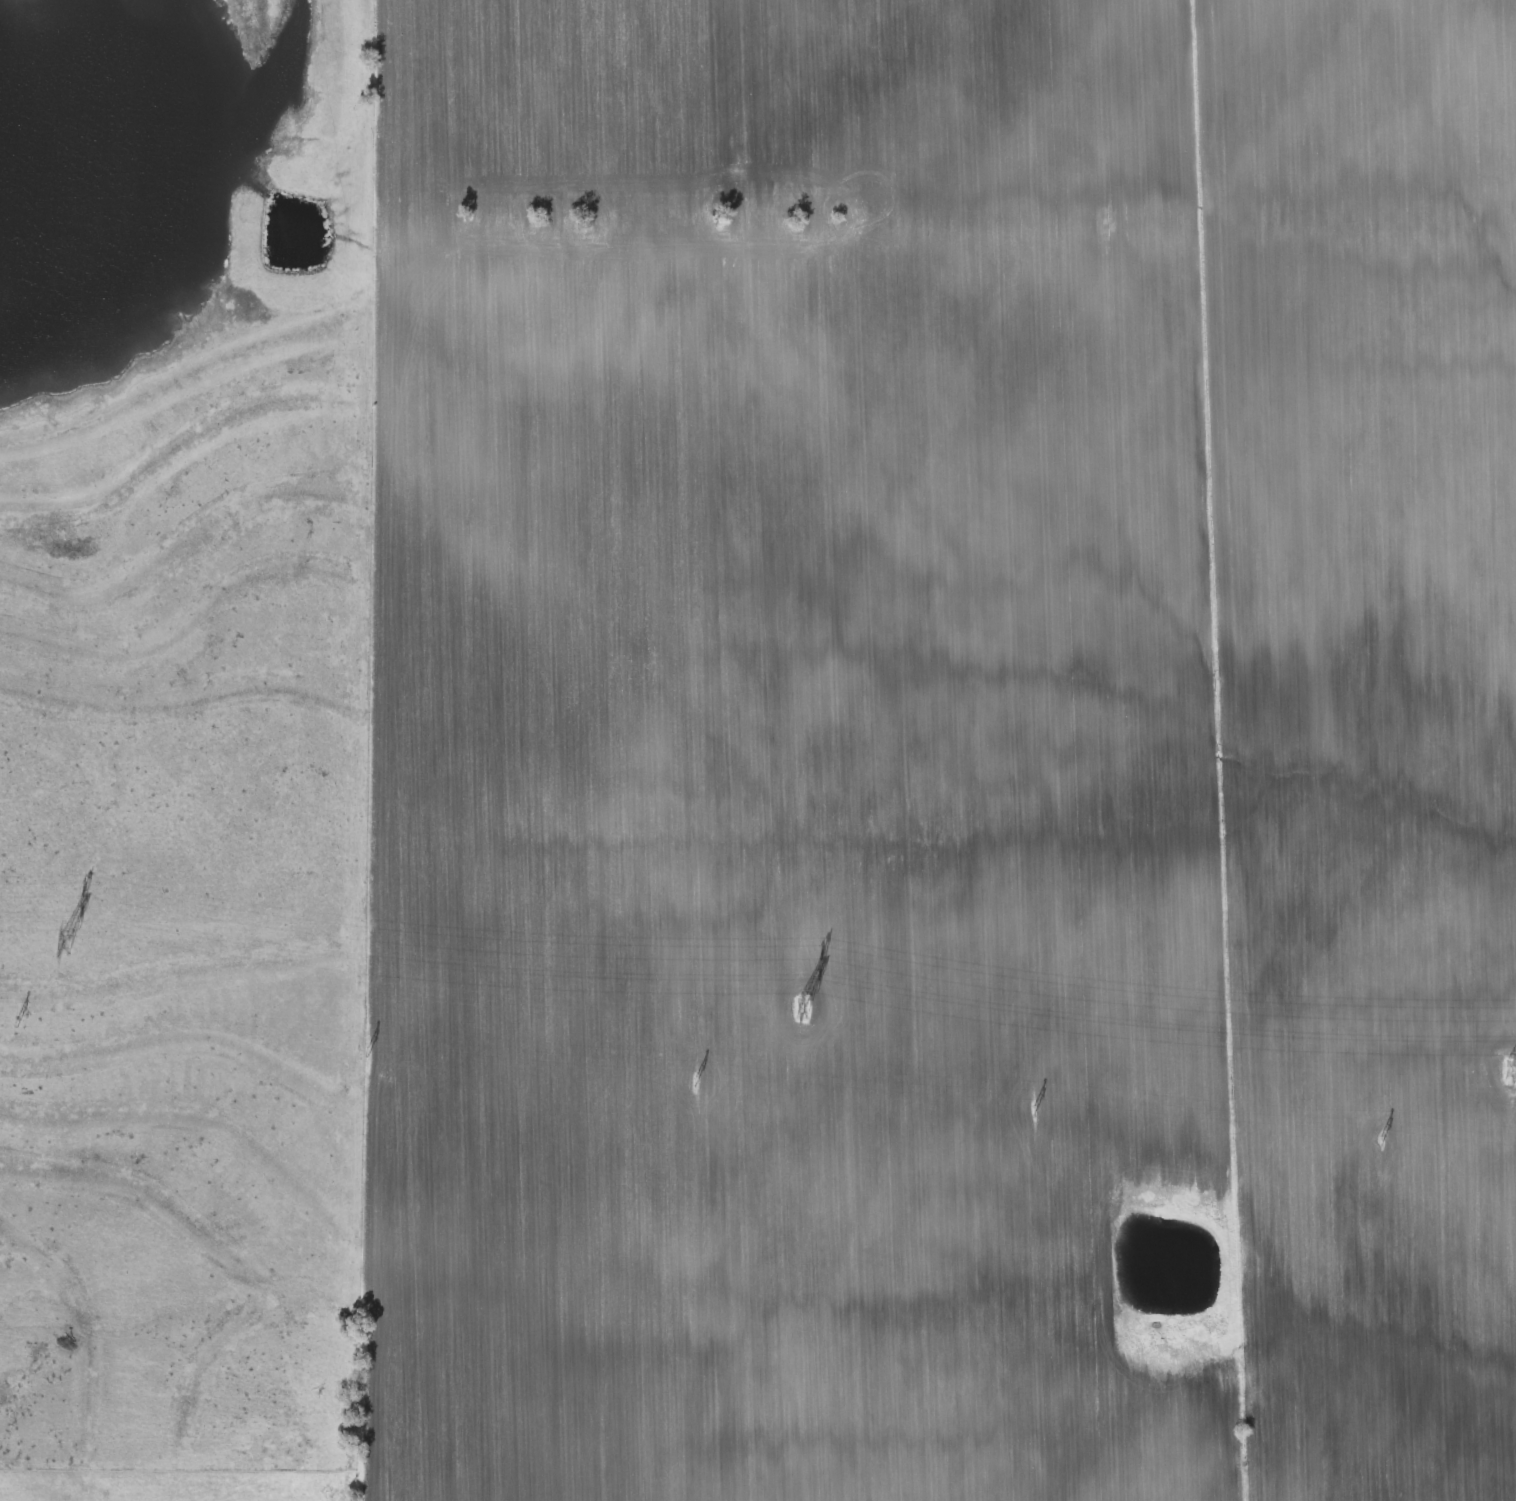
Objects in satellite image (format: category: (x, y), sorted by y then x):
power tower: (64, 945)
power tower: (800, 1008)
power tower: (1510, 1070)

